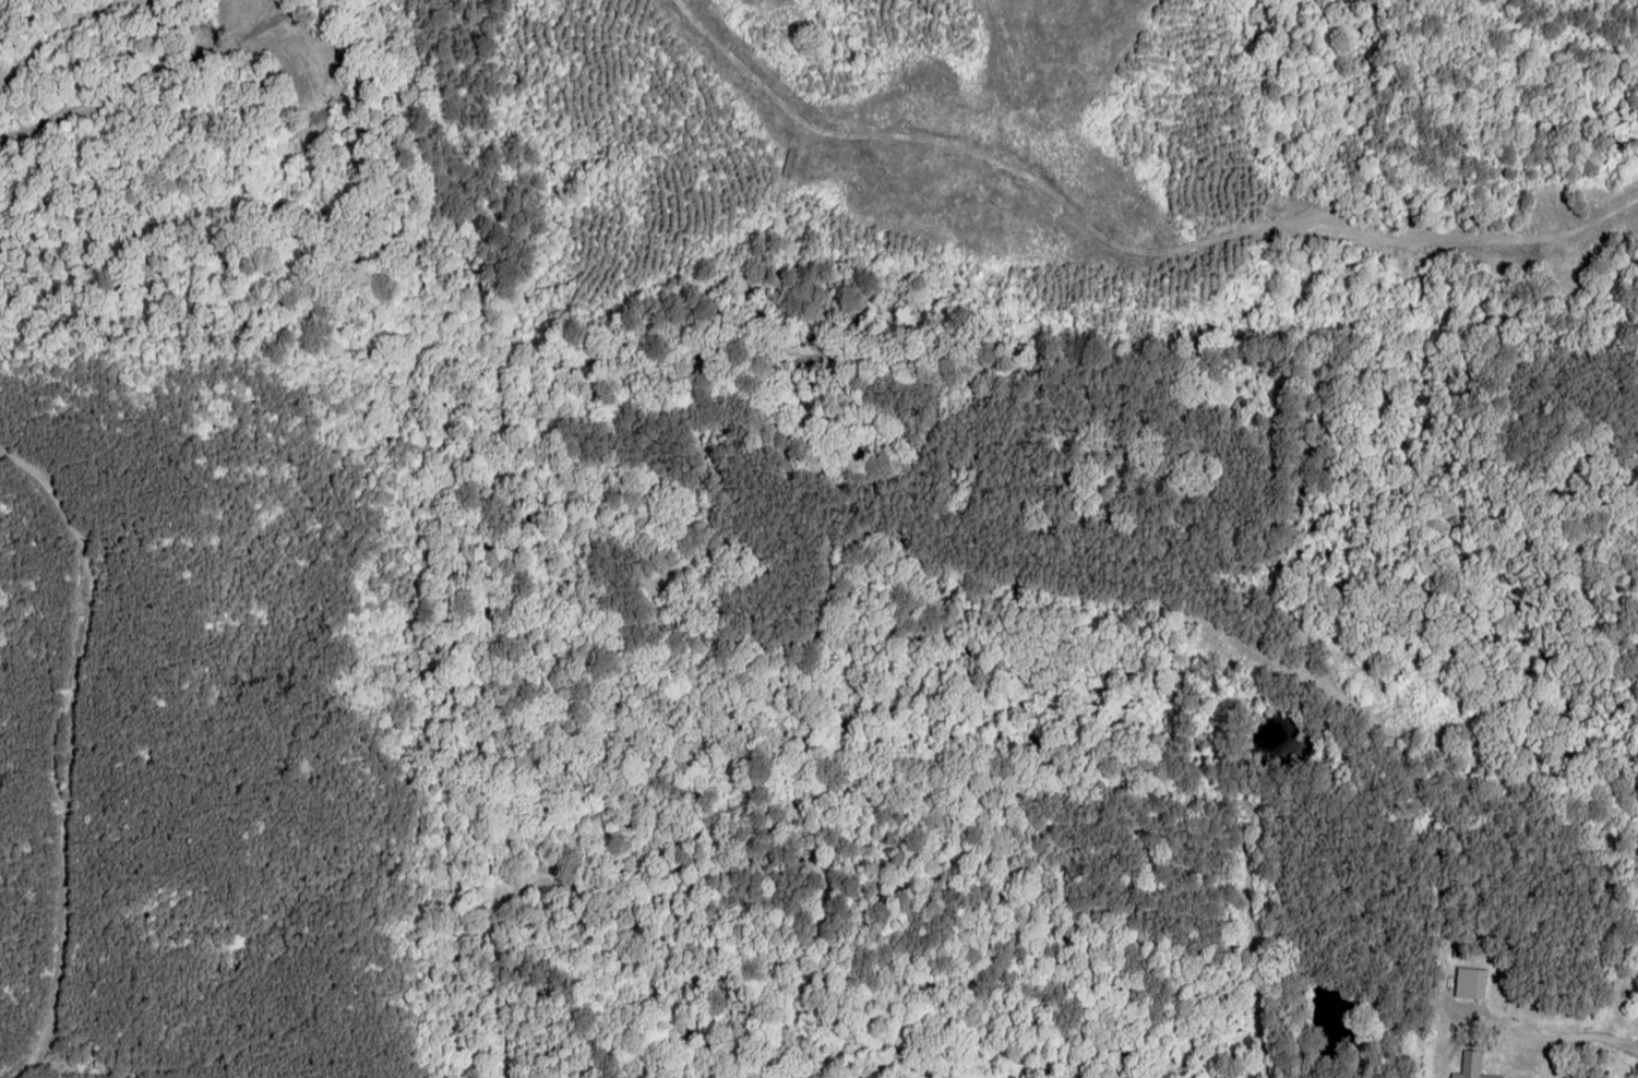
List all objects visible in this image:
building: (1469, 982)
building: (1470, 1066)

